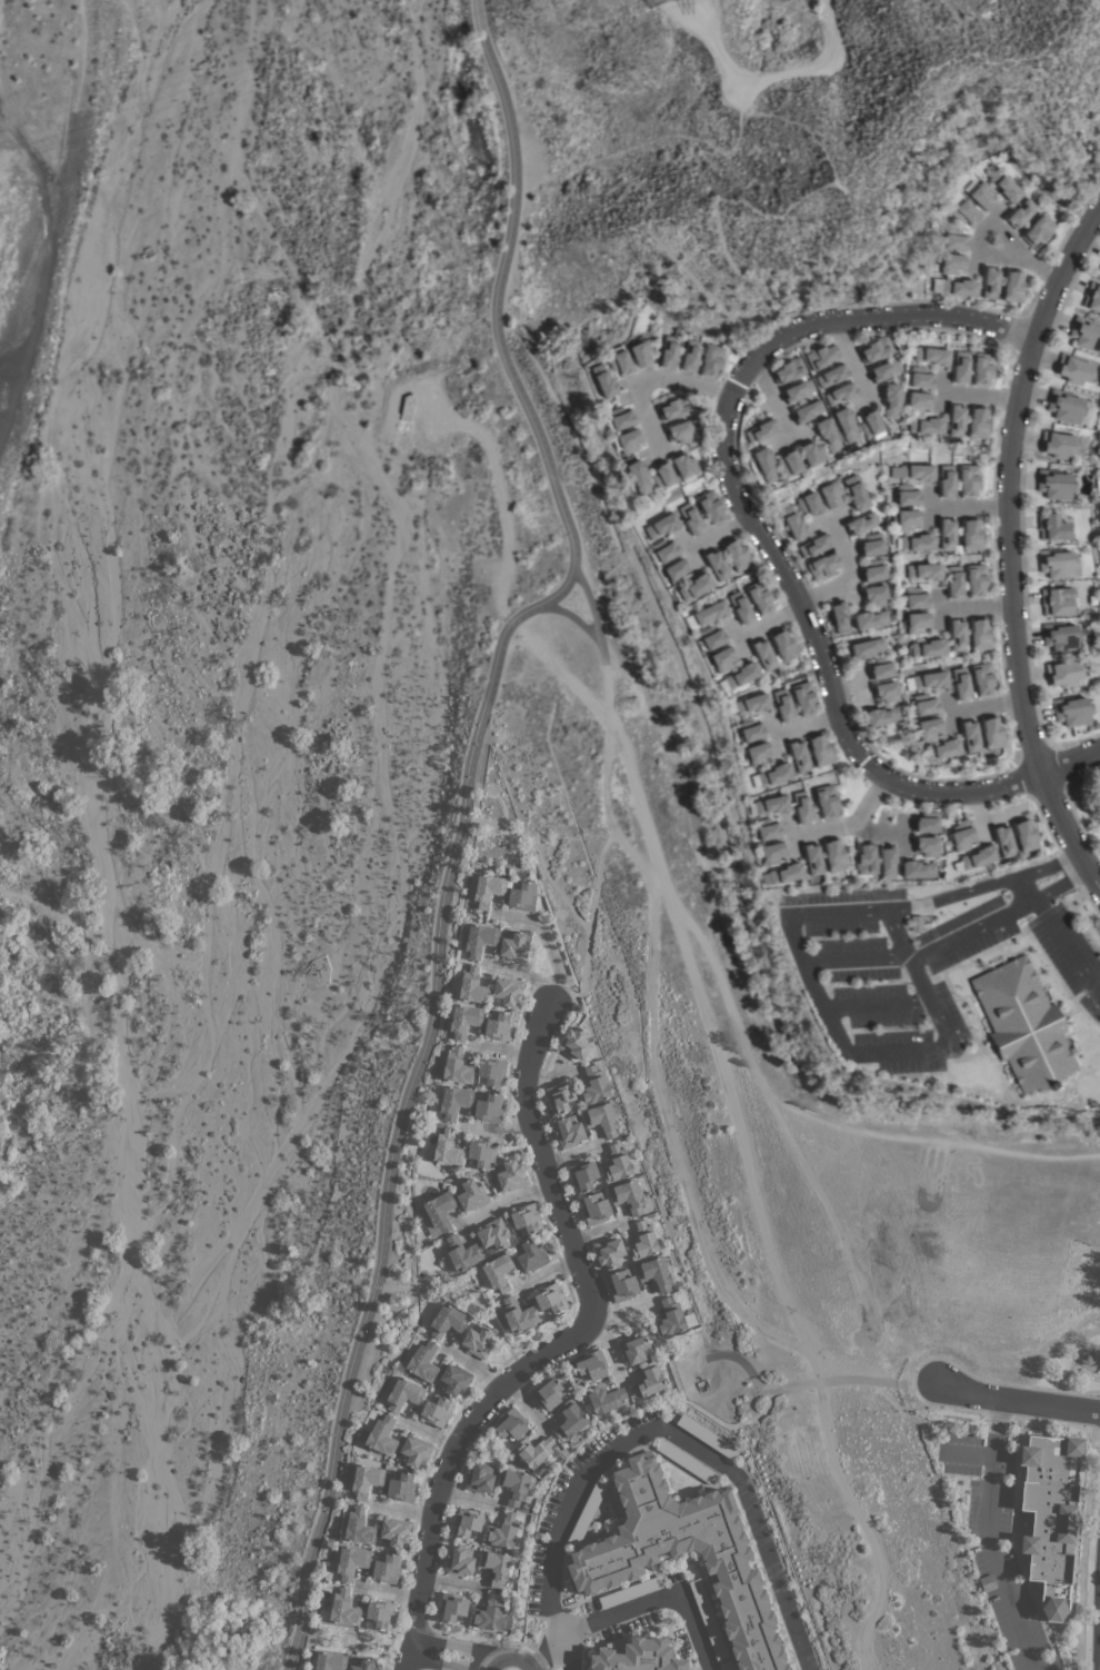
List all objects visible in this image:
building: (1006, 187)
building: (980, 195)
building: (963, 210)
building: (1020, 213)
building: (1038, 230)
road: (998, 235)
building: (954, 240)
road: (990, 255)
road: (1033, 264)
building: (952, 265)
building: (1099, 270)
building: (989, 282)
building: (954, 287)
building: (1012, 287)
building: (1092, 298)
building: (1086, 335)
building: (874, 350)
building: (668, 352)
building: (640, 354)
building: (689, 356)
building: (820, 356)
building: (931, 357)
building: (711, 361)
building: (617, 362)
road: (850, 362)
building: (960, 367)
building: (982, 369)
building: (883, 370)
building: (1073, 370)
building: (788, 371)
building: (831, 376)
road: (647, 377)
building: (920, 378)
building: (601, 381)
building: (798, 391)
building: (839, 395)
road: (771, 396)
road: (972, 397)
building: (890, 401)
building: (918, 402)
building: (1064, 407)
building: (406, 408)
building: (673, 408)
building: (806, 411)
building: (617, 419)
building: (956, 420)
building: (977, 423)
building: (844, 425)
building: (869, 425)
building: (926, 426)
building: (760, 431)
building: (679, 433)
building: (827, 436)
building: (626, 441)
building: (1058, 445)
building: (810, 454)
building: (788, 464)
building: (683, 465)
building: (763, 465)
building: (913, 473)
building: (637, 477)
building: (662, 477)
building: (968, 480)
building: (946, 481)
building: (1054, 485)
building: (856, 494)
building: (831, 495)
building: (907, 496)
building: (809, 505)
building: (711, 507)
road: (746, 515)
building: (690, 519)
building: (906, 520)
building: (792, 523)
building: (861, 524)
building: (660, 527)
building: (1052, 527)
building: (1099, 527)
building: (946, 534)
building: (970, 535)
building: (917, 543)
building: (870, 545)
building: (813, 546)
road: (1010, 547)
building: (663, 550)
building: (736, 555)
building: (1056, 564)
building: (716, 565)
building: (822, 566)
building: (674, 571)
building: (872, 571)
building: (923, 571)
road: (848, 573)
building: (976, 580)
building: (954, 581)
building: (694, 587)
building: (760, 596)
building: (874, 596)
building: (916, 599)
building: (1057, 602)
building: (740, 607)
road: (968, 608)
building: (710, 613)
road: (594, 615)
road: (574, 617)
building: (839, 617)
building: (869, 620)
building: (917, 623)
building: (979, 634)
building: (957, 635)
building: (711, 637)
building: (1060, 637)
building: (783, 646)
building: (867, 648)
building: (928, 648)
building: (762, 655)
building: (722, 659)
building: (880, 668)
building: (1063, 674)
building: (740, 675)
building: (982, 679)
building: (930, 680)
building: (960, 684)
building: (886, 693)
building: (804, 699)
building: (751, 704)
building: (782, 705)
building: (924, 705)
building: (1071, 712)
building: (881, 717)
building: (929, 729)
building: (749, 730)
building: (991, 733)
building: (969, 736)
building: (941, 749)
building: (819, 750)
building: (757, 754)
building: (798, 756)
road: (1070, 763)
building: (772, 775)
building: (826, 802)
building: (770, 805)
building: (800, 807)
road: (461, 816)
road: (1077, 819)
road: (484, 822)
building: (926, 823)
road: (850, 824)
building: (766, 829)
building: (961, 835)
building: (1024, 836)
building: (1003, 841)
building: (926, 847)
building: (770, 854)
building: (833, 855)
building: (811, 858)
building: (974, 858)
building: (864, 859)
building: (887, 862)
building: (917, 869)
building: (784, 874)
road: (547, 876)
road: (1062, 886)
building: (487, 888)
road: (982, 889)
road: (1030, 889)
road: (1099, 891)
road: (1099, 892)
building: (522, 895)
road: (837, 914)
building: (916, 924)
road: (588, 927)
building: (479, 938)
road: (547, 943)
building: (513, 945)
road: (1067, 948)
road: (924, 954)
building: (472, 986)
building: (508, 991)
building: (464, 1020)
building: (499, 1025)
building: (1023, 1025)
building: (574, 1043)
road: (651, 1045)
road: (893, 1052)
building: (456, 1067)
building: (492, 1071)
building: (593, 1085)
building: (560, 1096)
building: (454, 1101)
building: (489, 1107)
building: (601, 1119)
building: (569, 1131)
building: (447, 1149)
building: (482, 1152)
building: (617, 1164)
building: (511, 1174)
building: (583, 1174)
building: (471, 1194)
building: (628, 1195)
road: (504, 1201)
building: (596, 1207)
building: (437, 1213)
building: (527, 1219)
building: (493, 1233)
building: (643, 1241)
building: (609, 1251)
building: (460, 1254)
building: (530, 1254)
building: (498, 1272)
building: (654, 1272)
road: (467, 1283)
building: (622, 1284)
building: (551, 1298)
building: (518, 1314)
building: (670, 1318)
building: (447, 1320)
building: (478, 1340)
road: (553, 1344)
building: (634, 1348)
building: (423, 1361)
building: (592, 1364)
building: (454, 1379)
building: (649, 1380)
road: (812, 1382)
road: (678, 1386)
building: (548, 1392)
building: (403, 1393)
building: (604, 1396)
road: (1017, 1398)
building: (437, 1410)
building: (571, 1420)
building: (511, 1423)
road: (670, 1434)
building: (382, 1435)
building: (707, 1435)
building: (533, 1450)
building: (414, 1451)
building: (687, 1461)
building: (479, 1478)
building: (366, 1479)
building: (514, 1485)
building: (401, 1487)
building: (587, 1512)
building: (1050, 1517)
building: (467, 1521)
road: (863, 1525)
building: (359, 1527)
building: (396, 1531)
building: (502, 1531)
road: (987, 1535)
road: (1082, 1550)
building: (351, 1561)
building: (459, 1561)
building: (612, 1561)
building: (496, 1565)
building: (387, 1568)
building: (987, 1582)
building: (631, 1591)
road: (653, 1600)
building: (452, 1606)
building: (343, 1609)
building: (380, 1613)
building: (488, 1613)
building: (708, 1619)
road: (320, 1634)
road: (358, 1641)
road: (383, 1644)
road: (1099, 1652)
road: (540, 1656)
road: (564, 1656)
road: (451, 1657)
building: (639, 1657)
building: (330, 1661)
building: (362, 1663)
building: (726, 1666)

